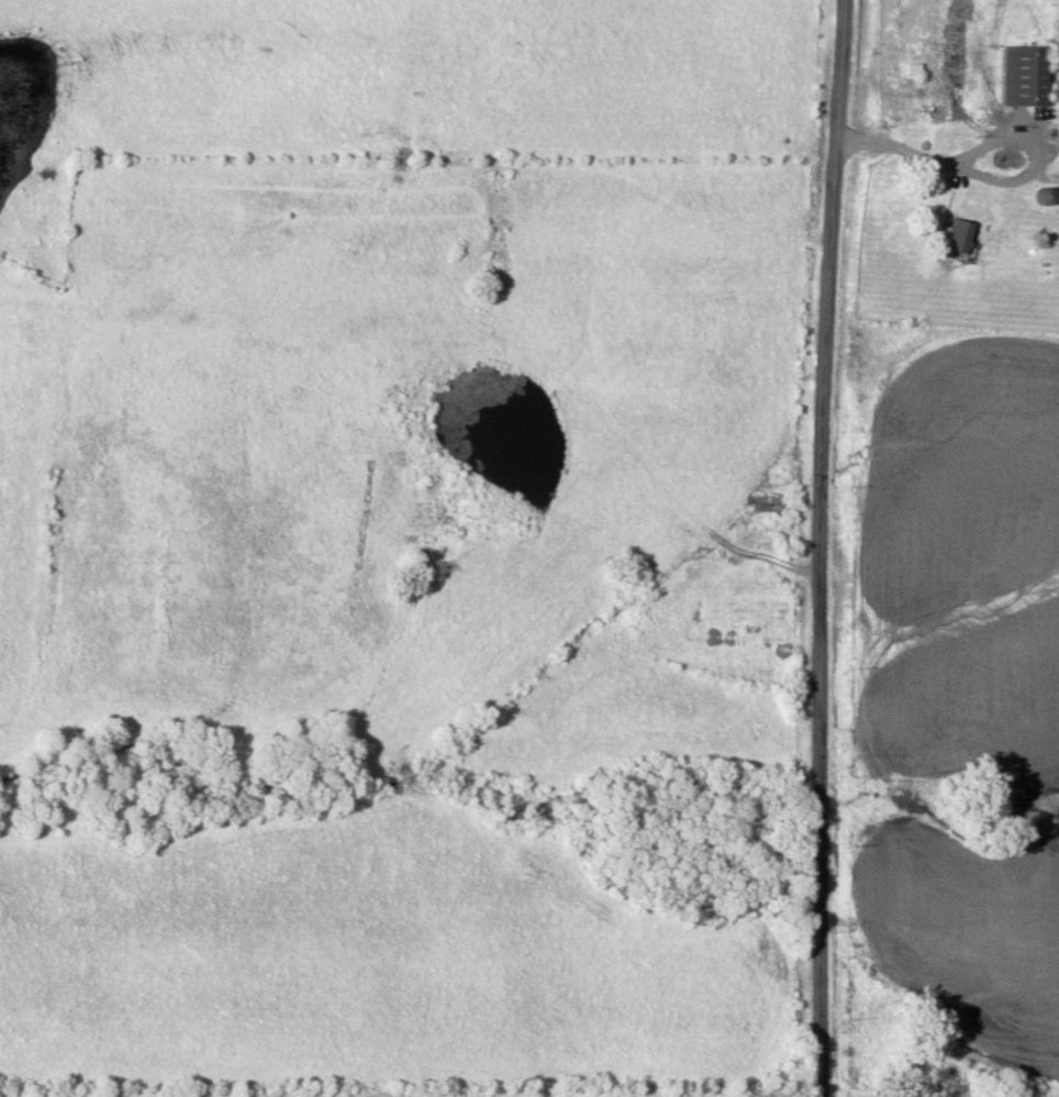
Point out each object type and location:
building: (1023, 76)
building: (958, 237)
road: (820, 547)

